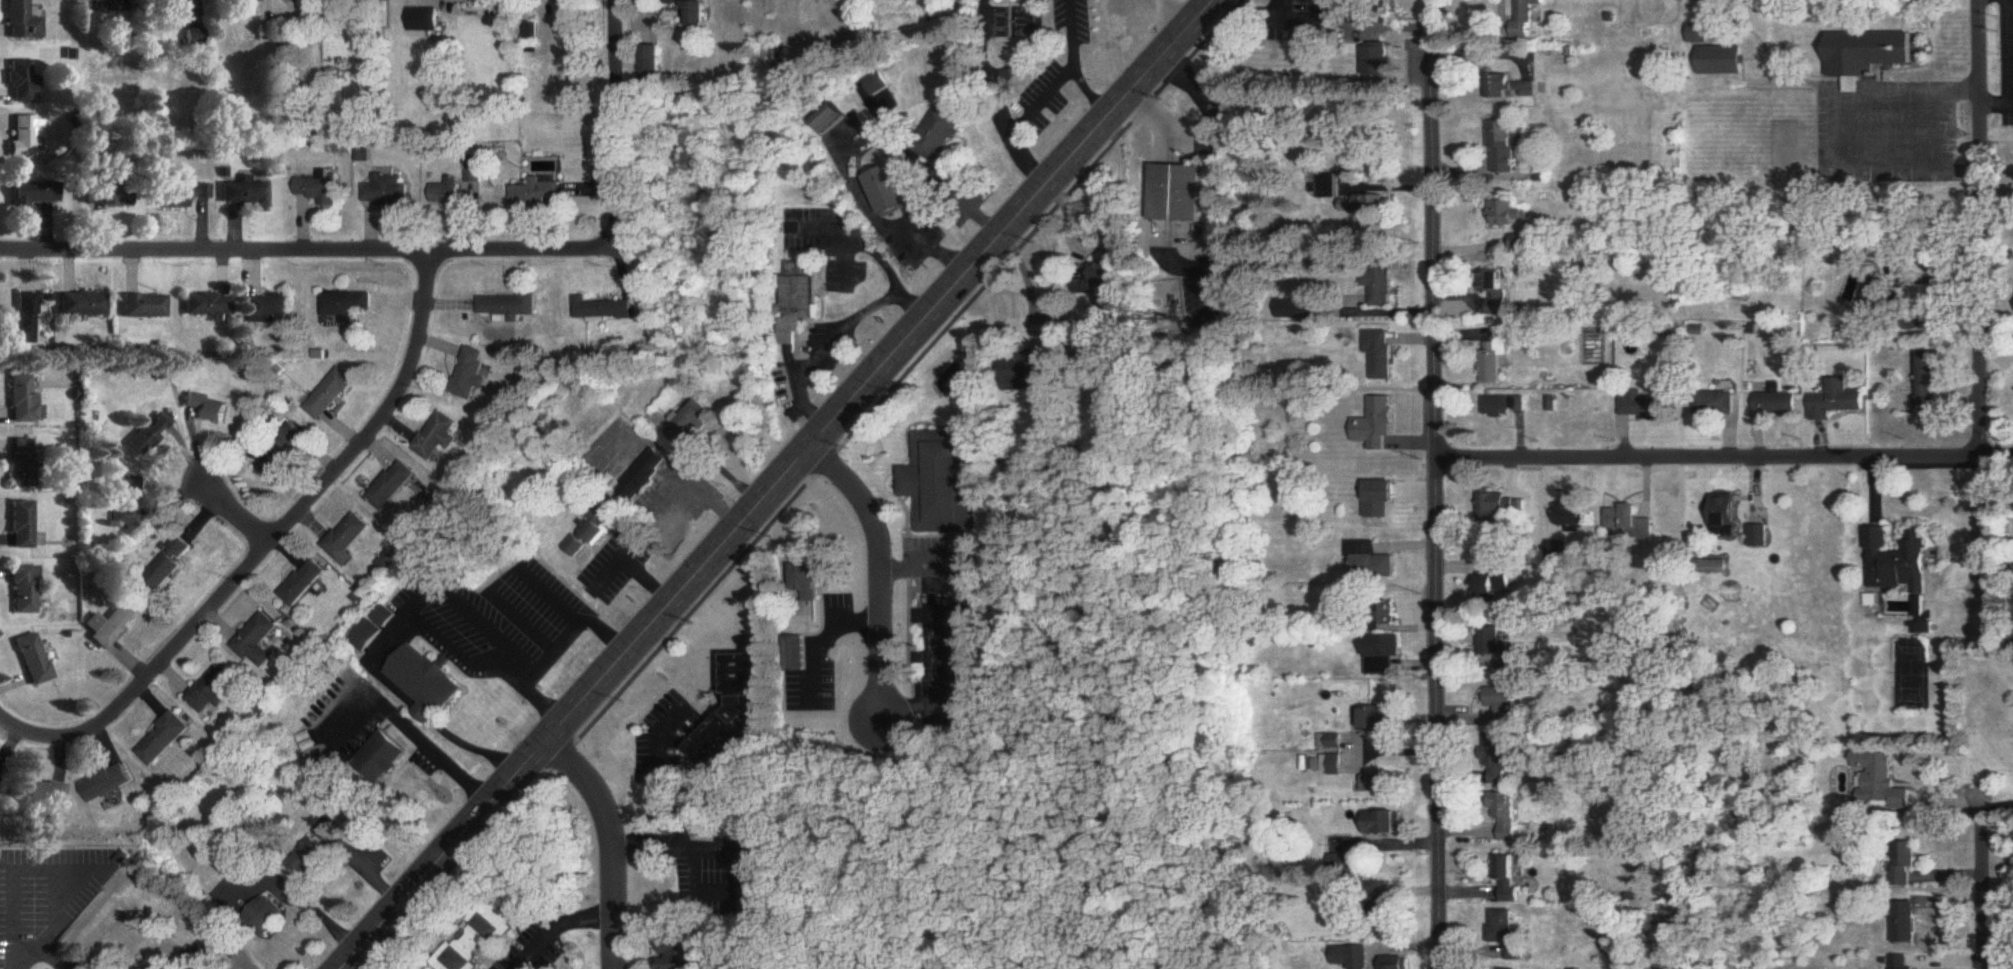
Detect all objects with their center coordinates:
building: (105, 2)
building: (238, 2)
building: (360, 2)
building: (568, 2)
building: (168, 8)
building: (694, 11)
road: (1297, 14)
building: (1527, 16)
building: (22, 21)
building: (432, 21)
road: (1165, 21)
road: (1073, 32)
building: (1699, 34)
building: (1867, 55)
building: (1721, 61)
building: (1379, 63)
building: (650, 65)
building: (20, 82)
building: (875, 84)
building: (1511, 88)
road: (1040, 98)
building: (828, 118)
road: (1942, 128)
building: (939, 135)
building: (24, 137)
building: (1506, 146)
building: (1328, 186)
building: (319, 190)
building: (888, 190)
building: (386, 191)
building: (34, 193)
building: (446, 193)
building: (539, 194)
building: (1179, 194)
building: (249, 195)
building: (179, 196)
road: (957, 196)
building: (107, 197)
building: (1365, 205)
building: (1508, 214)
road: (1977, 229)
road: (859, 238)
building: (1522, 243)
road: (427, 252)
road: (845, 254)
building: (1101, 278)
building: (1379, 284)
building: (1498, 292)
building: (1877, 297)
building: (800, 300)
building: (83, 305)
building: (208, 305)
building: (346, 306)
building: (144, 307)
building: (269, 308)
building: (508, 308)
building: (1295, 309)
building: (606, 310)
building: (24, 318)
road: (838, 335)
building: (1382, 355)
building: (1497, 357)
building: (1024, 373)
building: (470, 374)
building: (1930, 380)
building: (330, 395)
building: (1836, 401)
building: (24, 402)
building: (1775, 403)
building: (1642, 404)
building: (1713, 404)
building: (1499, 407)
building: (208, 409)
building: (695, 422)
building: (1378, 425)
building: (149, 435)
building: (436, 437)
building: (280, 454)
road: (1723, 459)
building: (23, 464)
building: (646, 476)
road: (774, 483)
building: (941, 483)
road: (1433, 484)
building: (393, 487)
building: (126, 500)
building: (1381, 500)
building: (1500, 506)
building: (1571, 515)
building: (1725, 515)
road: (239, 516)
building: (1622, 518)
building: (22, 526)
building: (591, 533)
building: (1758, 536)
building: (348, 540)
road: (267, 551)
building: (1557, 551)
building: (1900, 561)
building: (169, 562)
building: (1370, 563)
road: (635, 565)
building: (1711, 565)
road: (876, 569)
building: (304, 584)
building: (1496, 587)
building: (808, 588)
building: (25, 590)
building: (111, 626)
road: (962, 631)
road: (820, 633)
building: (368, 636)
building: (257, 642)
building: (1498, 646)
road: (556, 654)
building: (796, 655)
building: (1384, 655)
building: (34, 660)
building: (426, 684)
building: (213, 689)
building: (1504, 705)
building: (734, 719)
building: (1381, 721)
road: (413, 736)
building: (163, 740)
building: (1332, 743)
building: (383, 759)
building: (1497, 762)
building: (1333, 765)
road: (657, 780)
building: (1880, 781)
building: (107, 784)
building: (1382, 784)
building: (39, 795)
road: (1991, 810)
building: (1508, 818)
building: (1384, 824)
road: (609, 843)
building: (312, 859)
building: (1905, 865)
building: (1509, 878)
road: (723, 888)
road: (1981, 897)
building: (268, 915)
road: (554, 923)
building: (1905, 923)
building: (1507, 934)
building: (475, 942)
building: (208, 948)
building: (676, 952)
building: (1352, 957)
building: (1904, 962)
building: (1396, 963)

